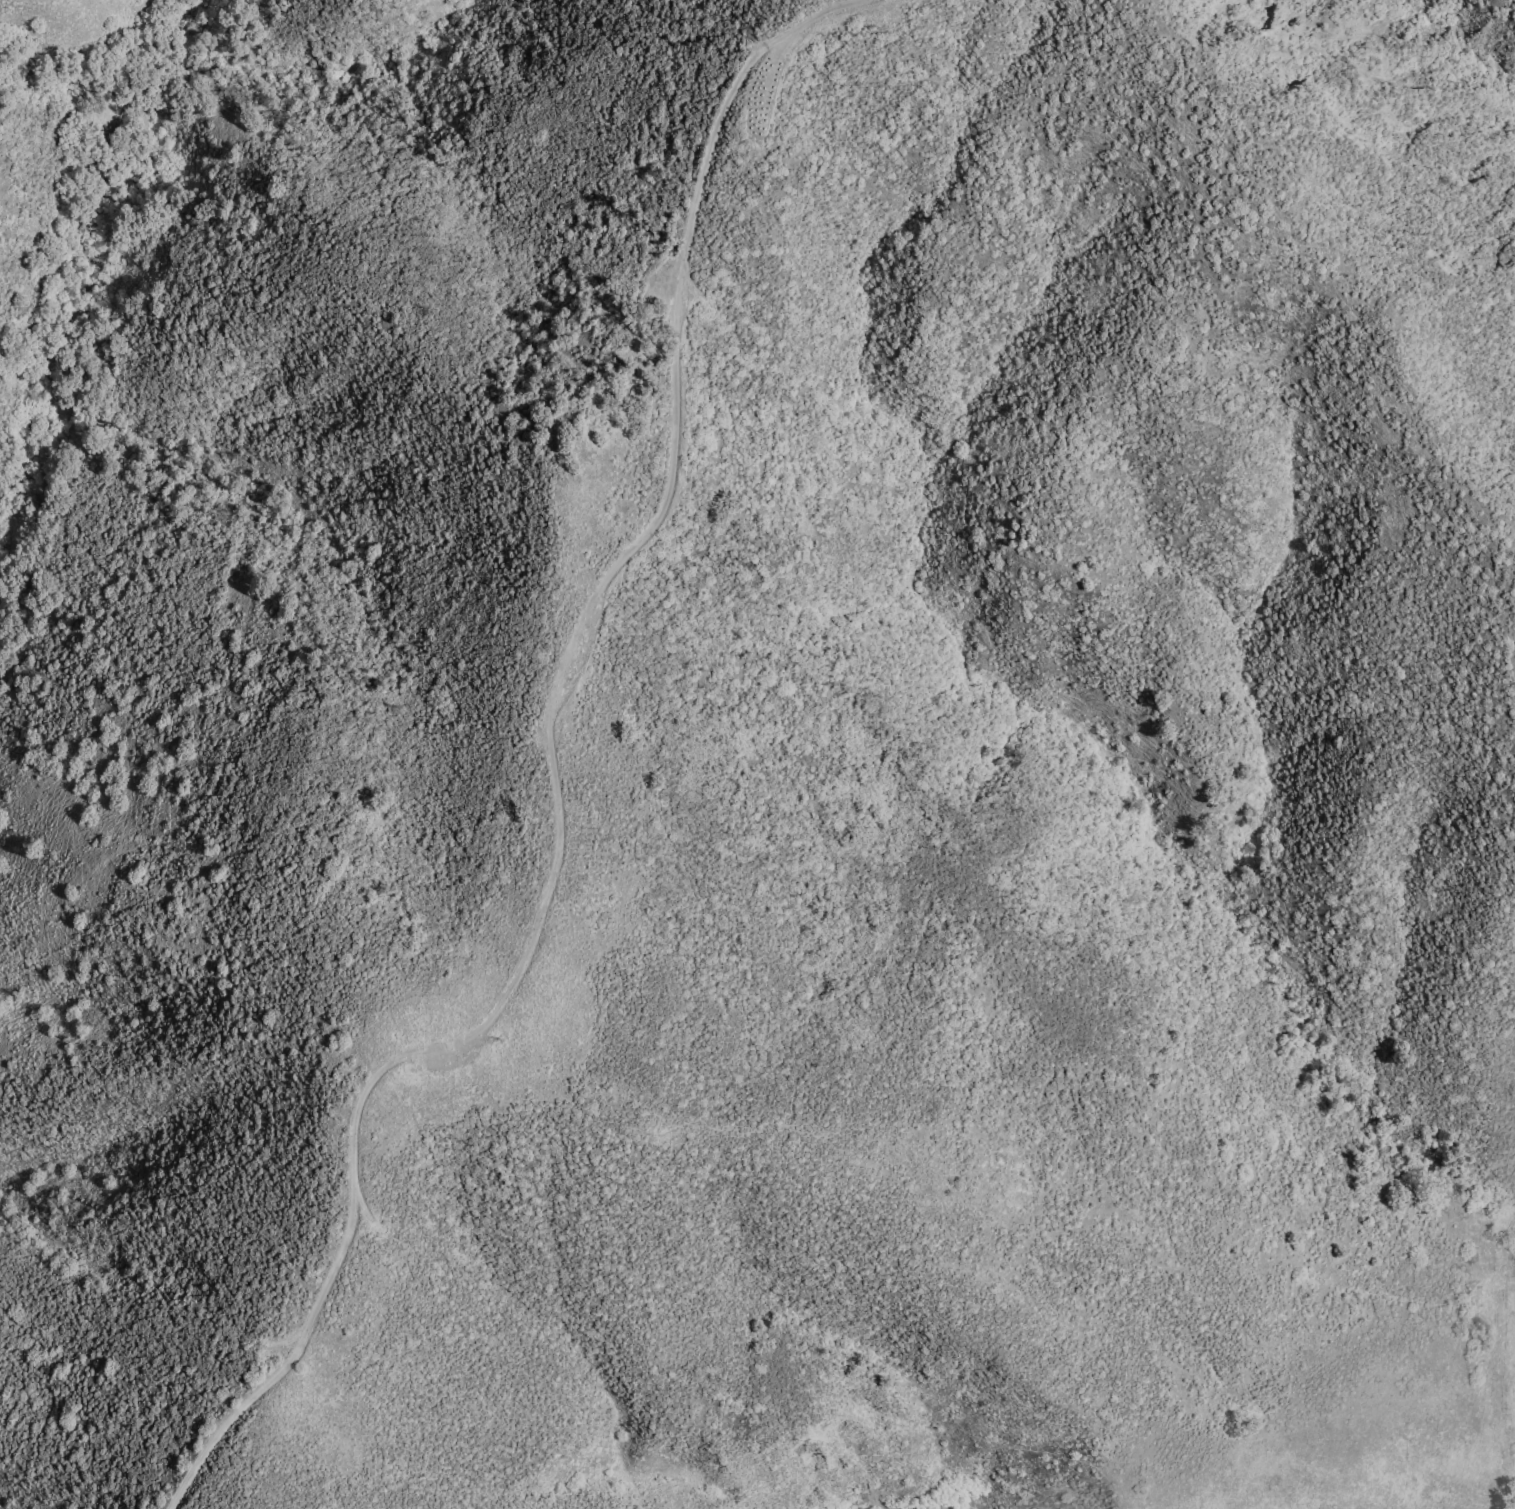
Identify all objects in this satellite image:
road: (562, 773)
road: (1508, 1224)

